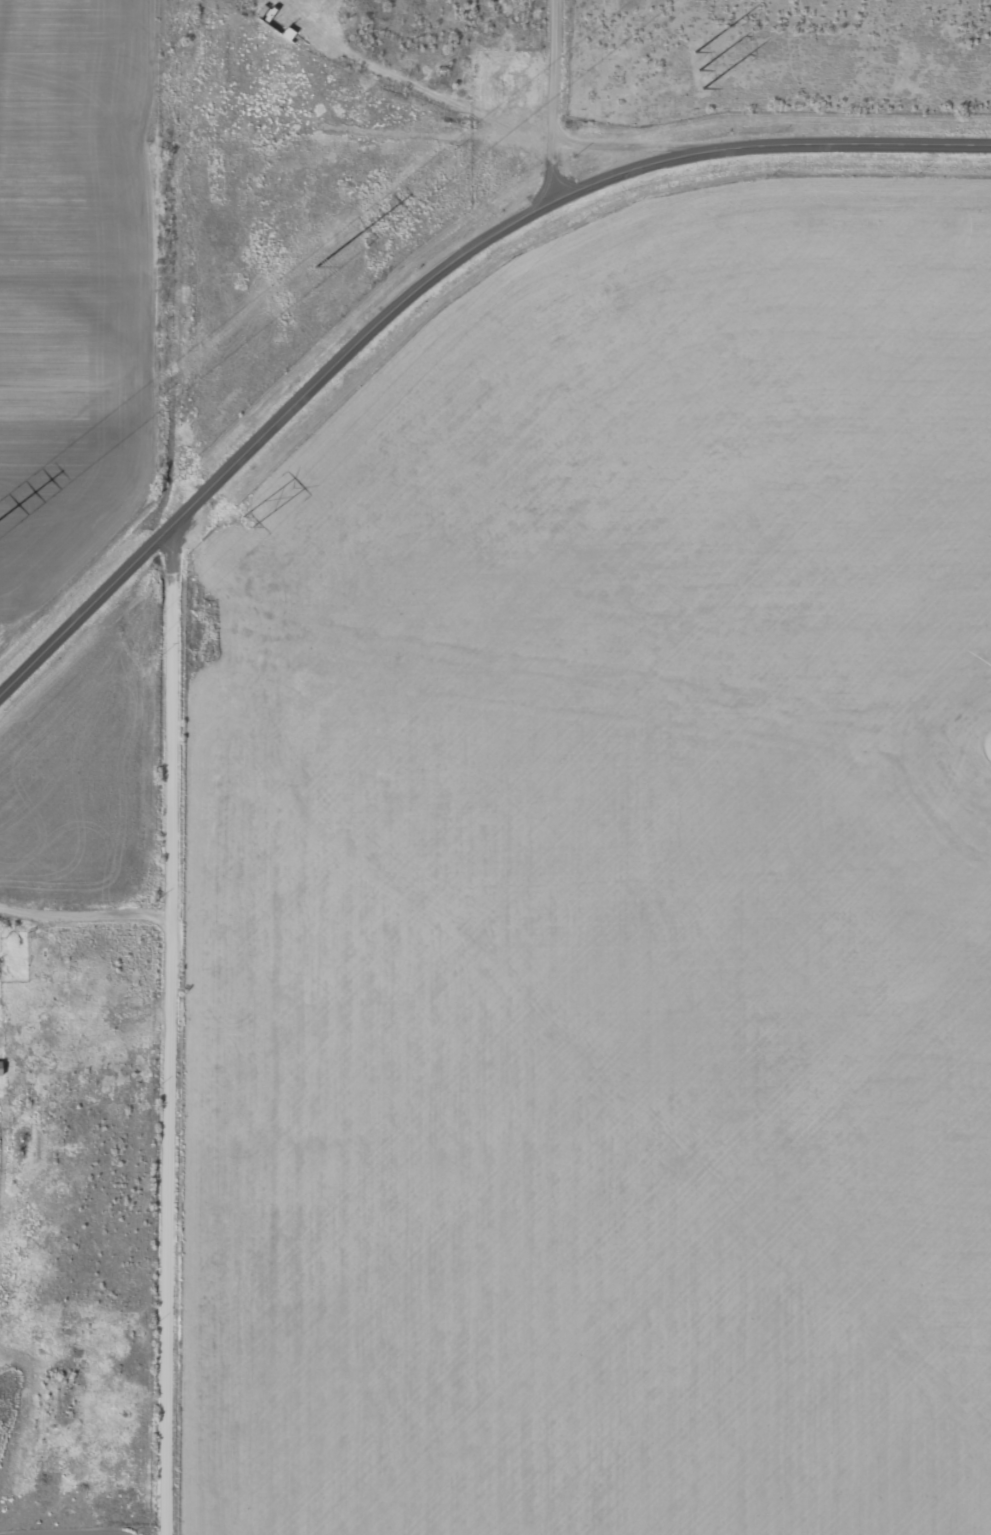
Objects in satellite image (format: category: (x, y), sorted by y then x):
road: (560, 44)
power tower: (690, 73)
road: (412, 74)
road: (553, 144)
power tower: (315, 268)
road: (428, 285)
power tower: (231, 523)
road: (178, 717)
road: (89, 904)
road: (173, 1220)

